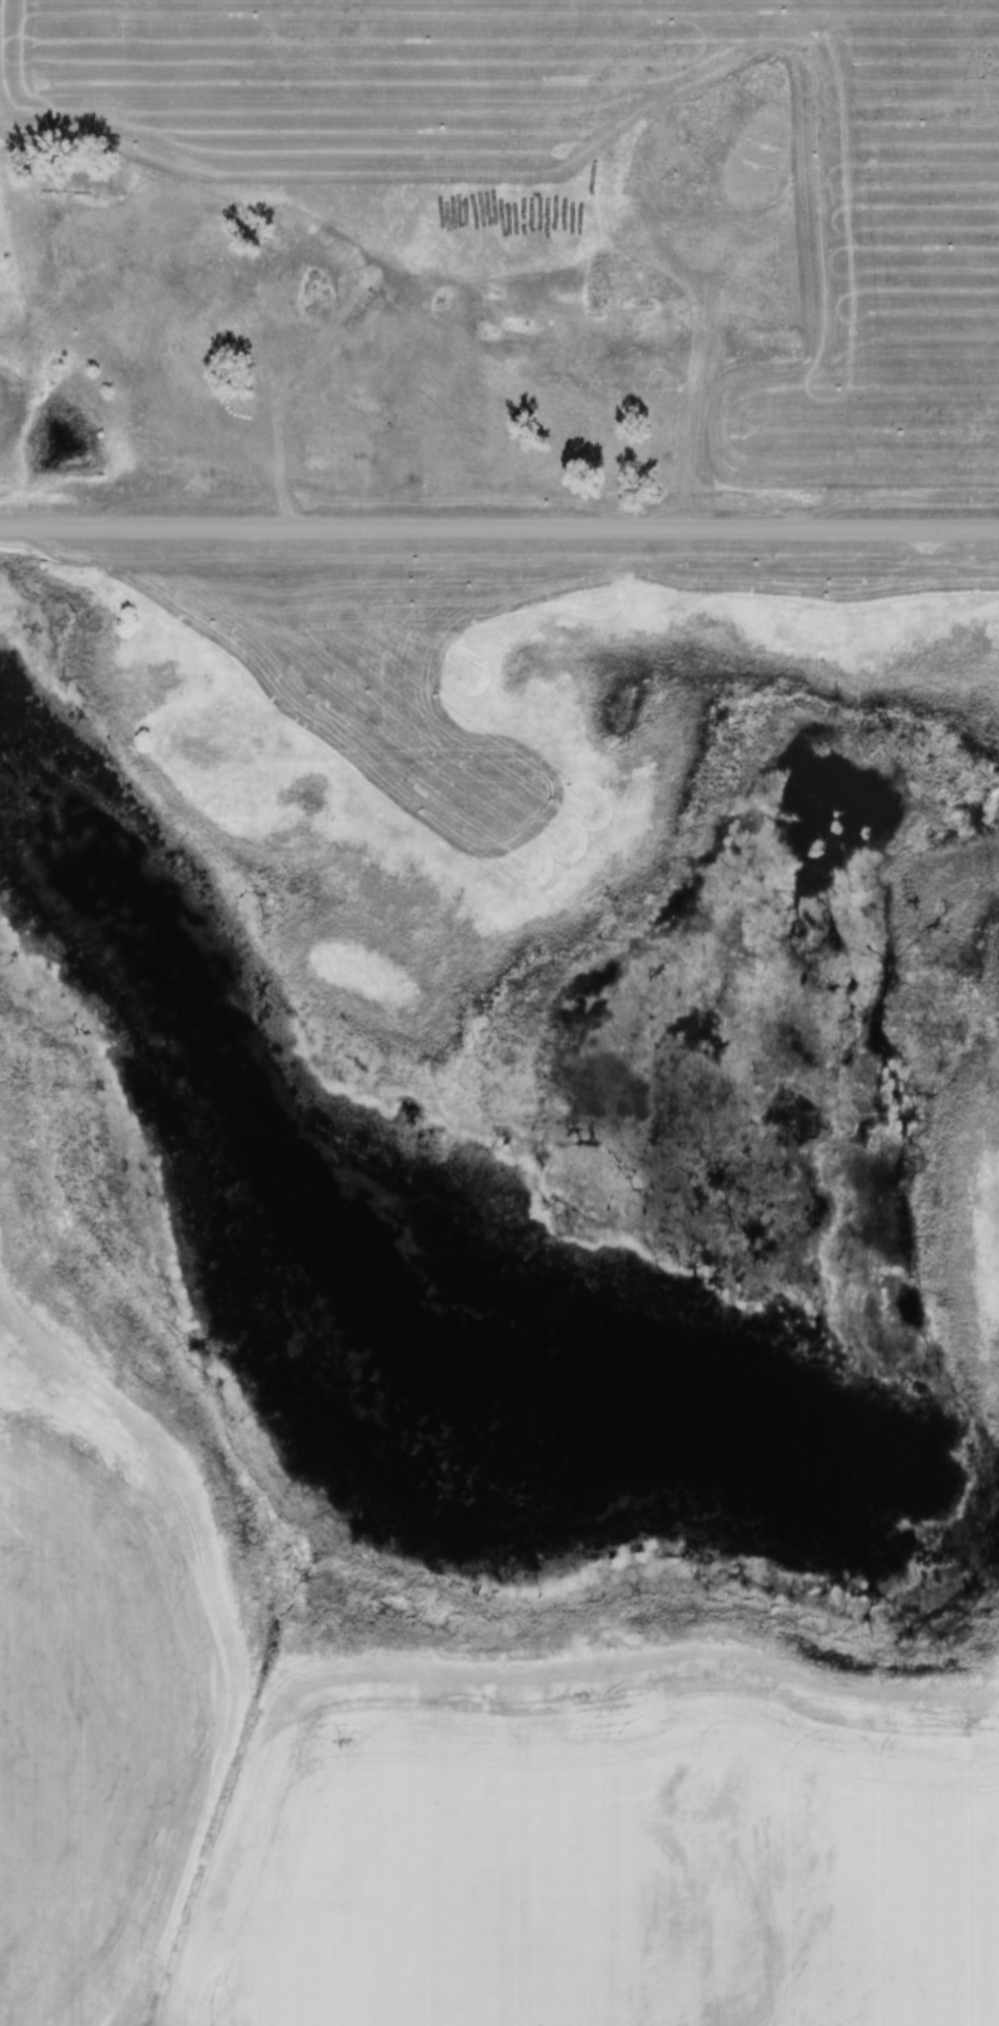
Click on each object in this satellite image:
road: (499, 531)

